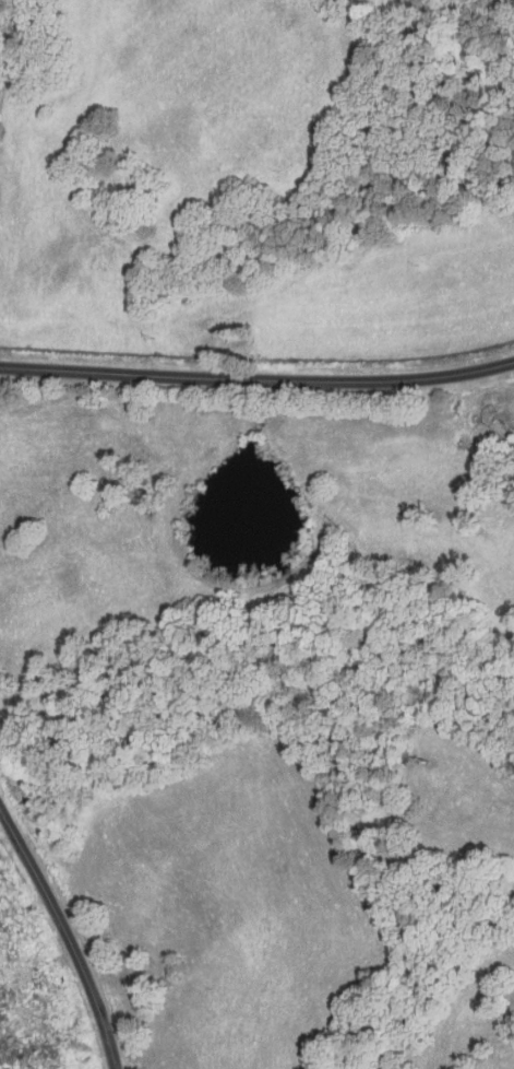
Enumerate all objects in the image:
road: (258, 379)
road: (65, 935)

